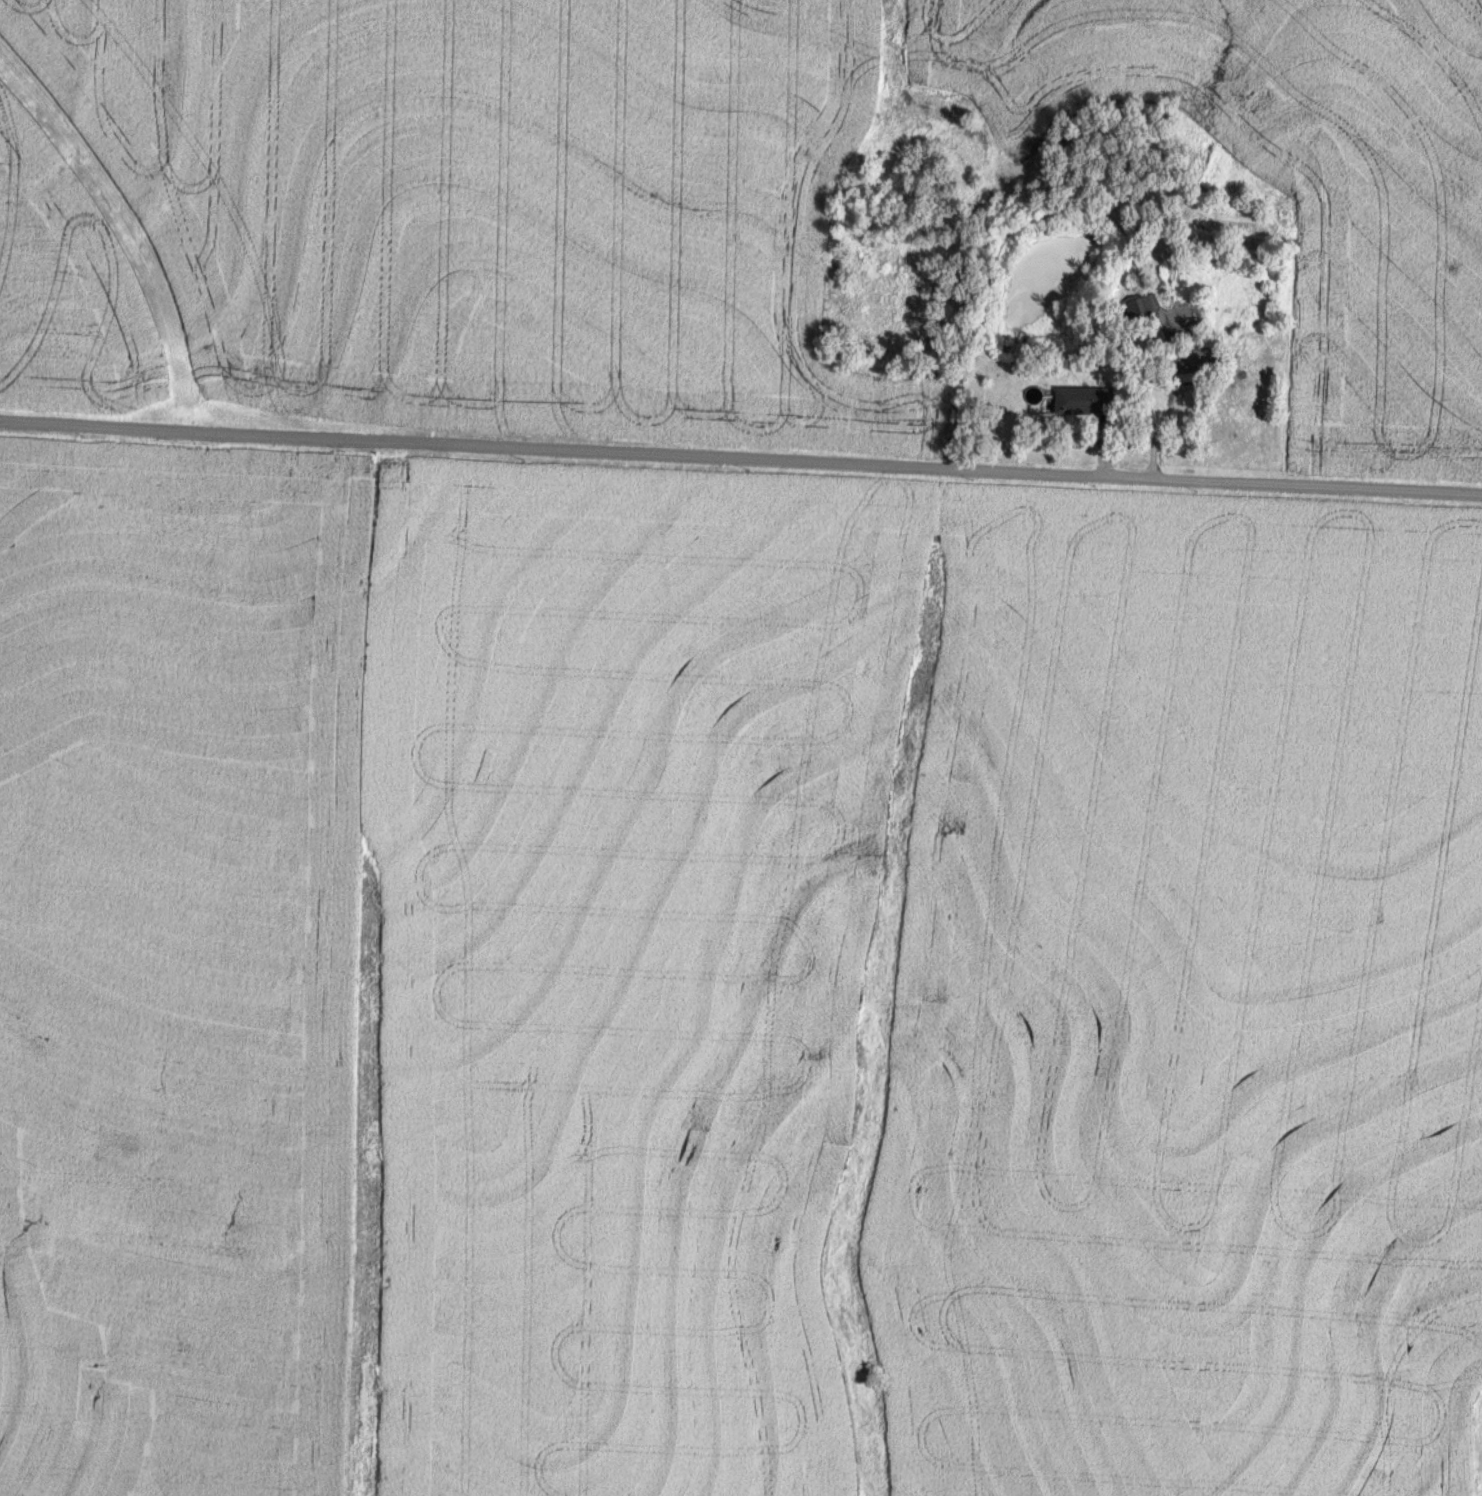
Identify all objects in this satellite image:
crop: (681, 204)
building: (1146, 307)
road: (1155, 384)
building: (1086, 399)
road: (740, 457)

